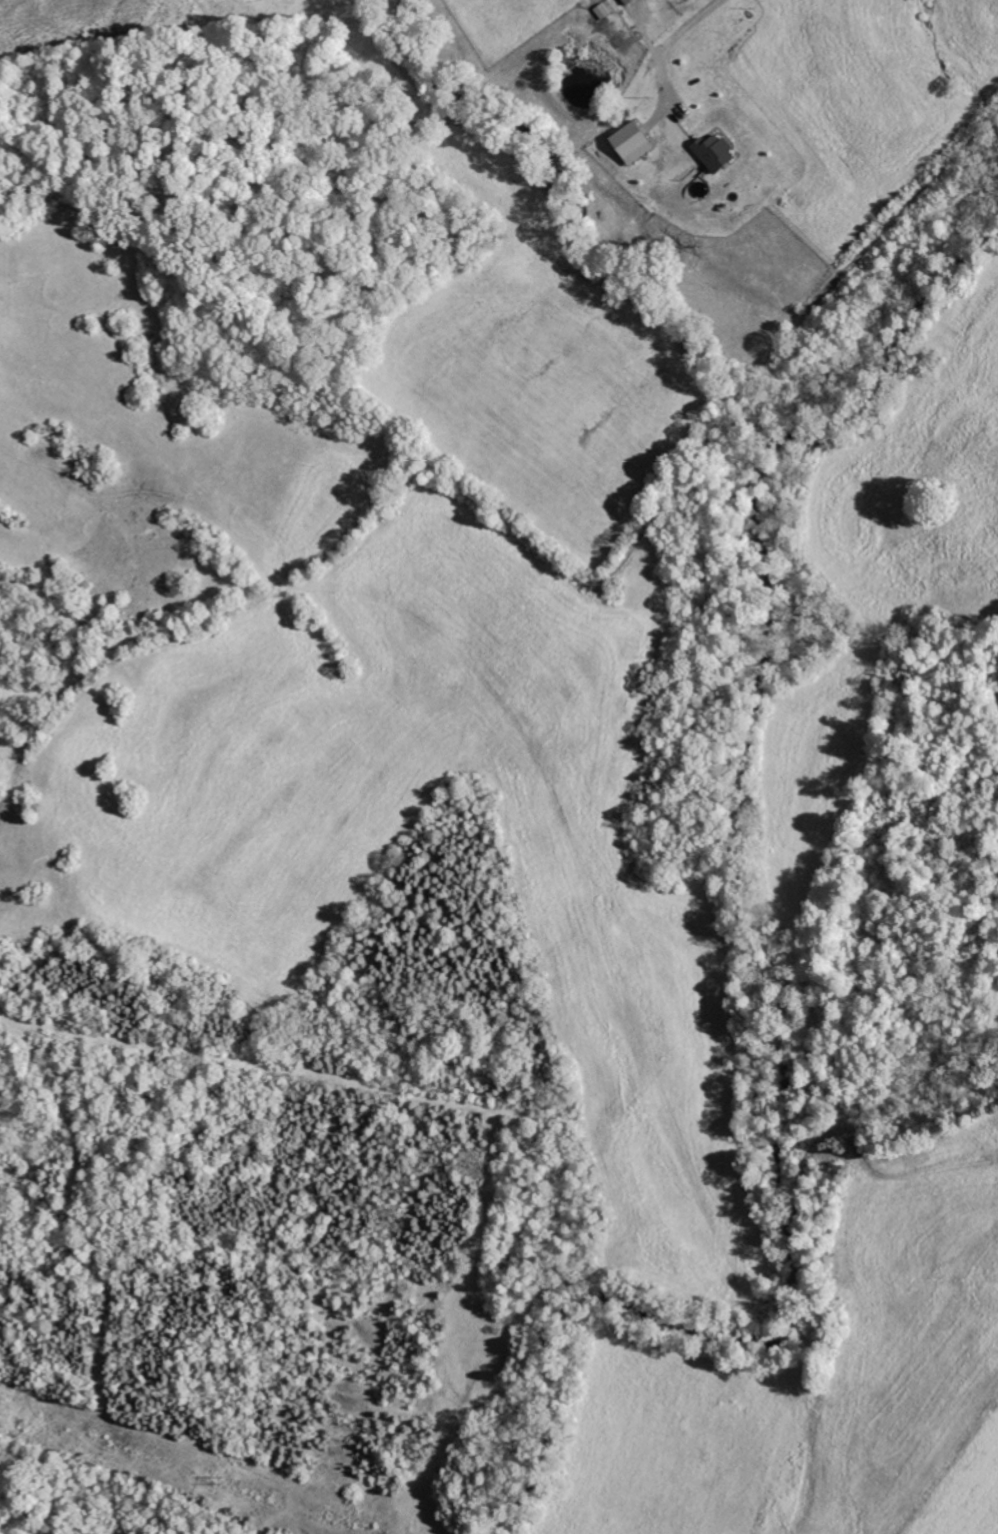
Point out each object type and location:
building: (632, 142)
building: (714, 150)

